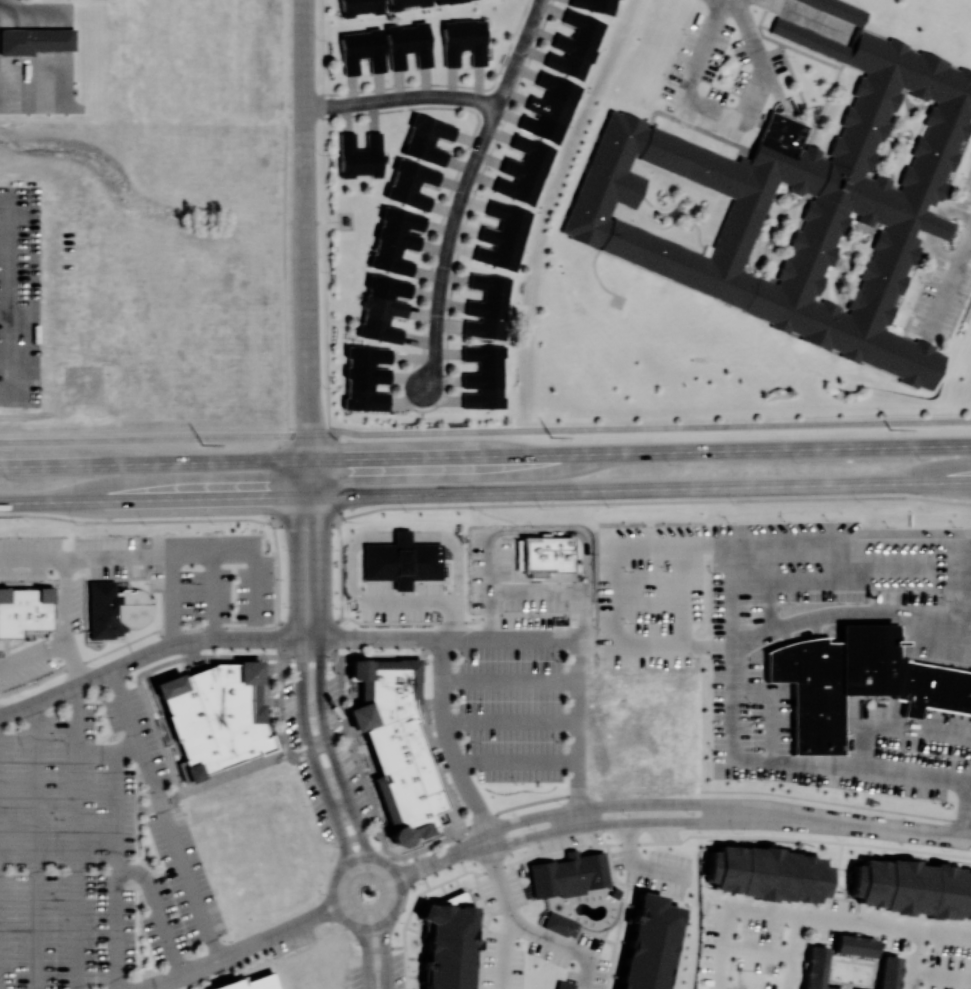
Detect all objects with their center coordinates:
building: (445, 1)
road: (2, 2)
building: (407, 3)
building: (595, 5)
building: (360, 6)
road: (806, 18)
building: (35, 40)
building: (463, 41)
building: (407, 44)
building: (575, 45)
road: (758, 49)
building: (361, 50)
road: (519, 52)
road: (304, 62)
road: (444, 95)
road: (691, 99)
road: (375, 101)
road: (332, 106)
building: (550, 107)
building: (427, 138)
building: (360, 155)
road: (477, 156)
building: (525, 170)
building: (411, 183)
building: (876, 194)
road: (455, 224)
road: (936, 229)
building: (503, 236)
road: (969, 239)
building: (396, 240)
road: (448, 251)
road: (444, 274)
road: (306, 275)
road: (949, 285)
road: (440, 296)
building: (488, 306)
building: (383, 307)
road: (439, 317)
road: (437, 333)
road: (436, 352)
building: (485, 376)
building: (366, 377)
road: (429, 378)
building: (90, 388)
road: (422, 421)
power tower: (889, 428)
road: (482, 430)
power tower: (551, 436)
road: (308, 442)
power tower: (202, 443)
road: (485, 454)
road: (334, 474)
road: (303, 477)
road: (313, 477)
road: (485, 491)
road: (482, 504)
road: (566, 531)
road: (180, 556)
building: (544, 556)
road: (33, 559)
building: (402, 560)
road: (491, 561)
road: (254, 566)
road: (541, 590)
road: (66, 601)
road: (171, 601)
road: (277, 606)
building: (24, 609)
road: (855, 617)
road: (241, 638)
road: (381, 639)
road: (453, 639)
road: (522, 639)
road: (579, 654)
road: (33, 657)
road: (138, 658)
road: (75, 663)
building: (857, 681)
road: (320, 683)
road: (301, 688)
road: (57, 694)
building: (216, 717)
road: (578, 738)
road: (449, 743)
building: (397, 746)
road: (106, 749)
road: (819, 764)
road: (969, 784)
road: (592, 805)
road: (749, 805)
road: (166, 814)
road: (749, 821)
road: (595, 824)
road: (578, 827)
road: (882, 827)
road: (73, 838)
road: (642, 844)
road: (35, 846)
road: (493, 854)
road: (443, 858)
road: (352, 862)
road: (116, 868)
building: (767, 873)
building: (568, 874)
building: (912, 887)
road: (401, 888)
road: (159, 912)
road: (780, 914)
road: (342, 916)
road: (382, 923)
building: (560, 924)
road: (914, 931)
road: (278, 932)
road: (542, 933)
road: (386, 943)
building: (647, 943)
building: (447, 944)
building: (855, 945)
road: (759, 949)
road: (795, 952)
road: (502, 953)
road: (366, 954)
building: (816, 968)
building: (888, 972)
road: (185, 975)
road: (941, 976)
building: (248, 983)
building: (564, 985)
road: (716, 988)

